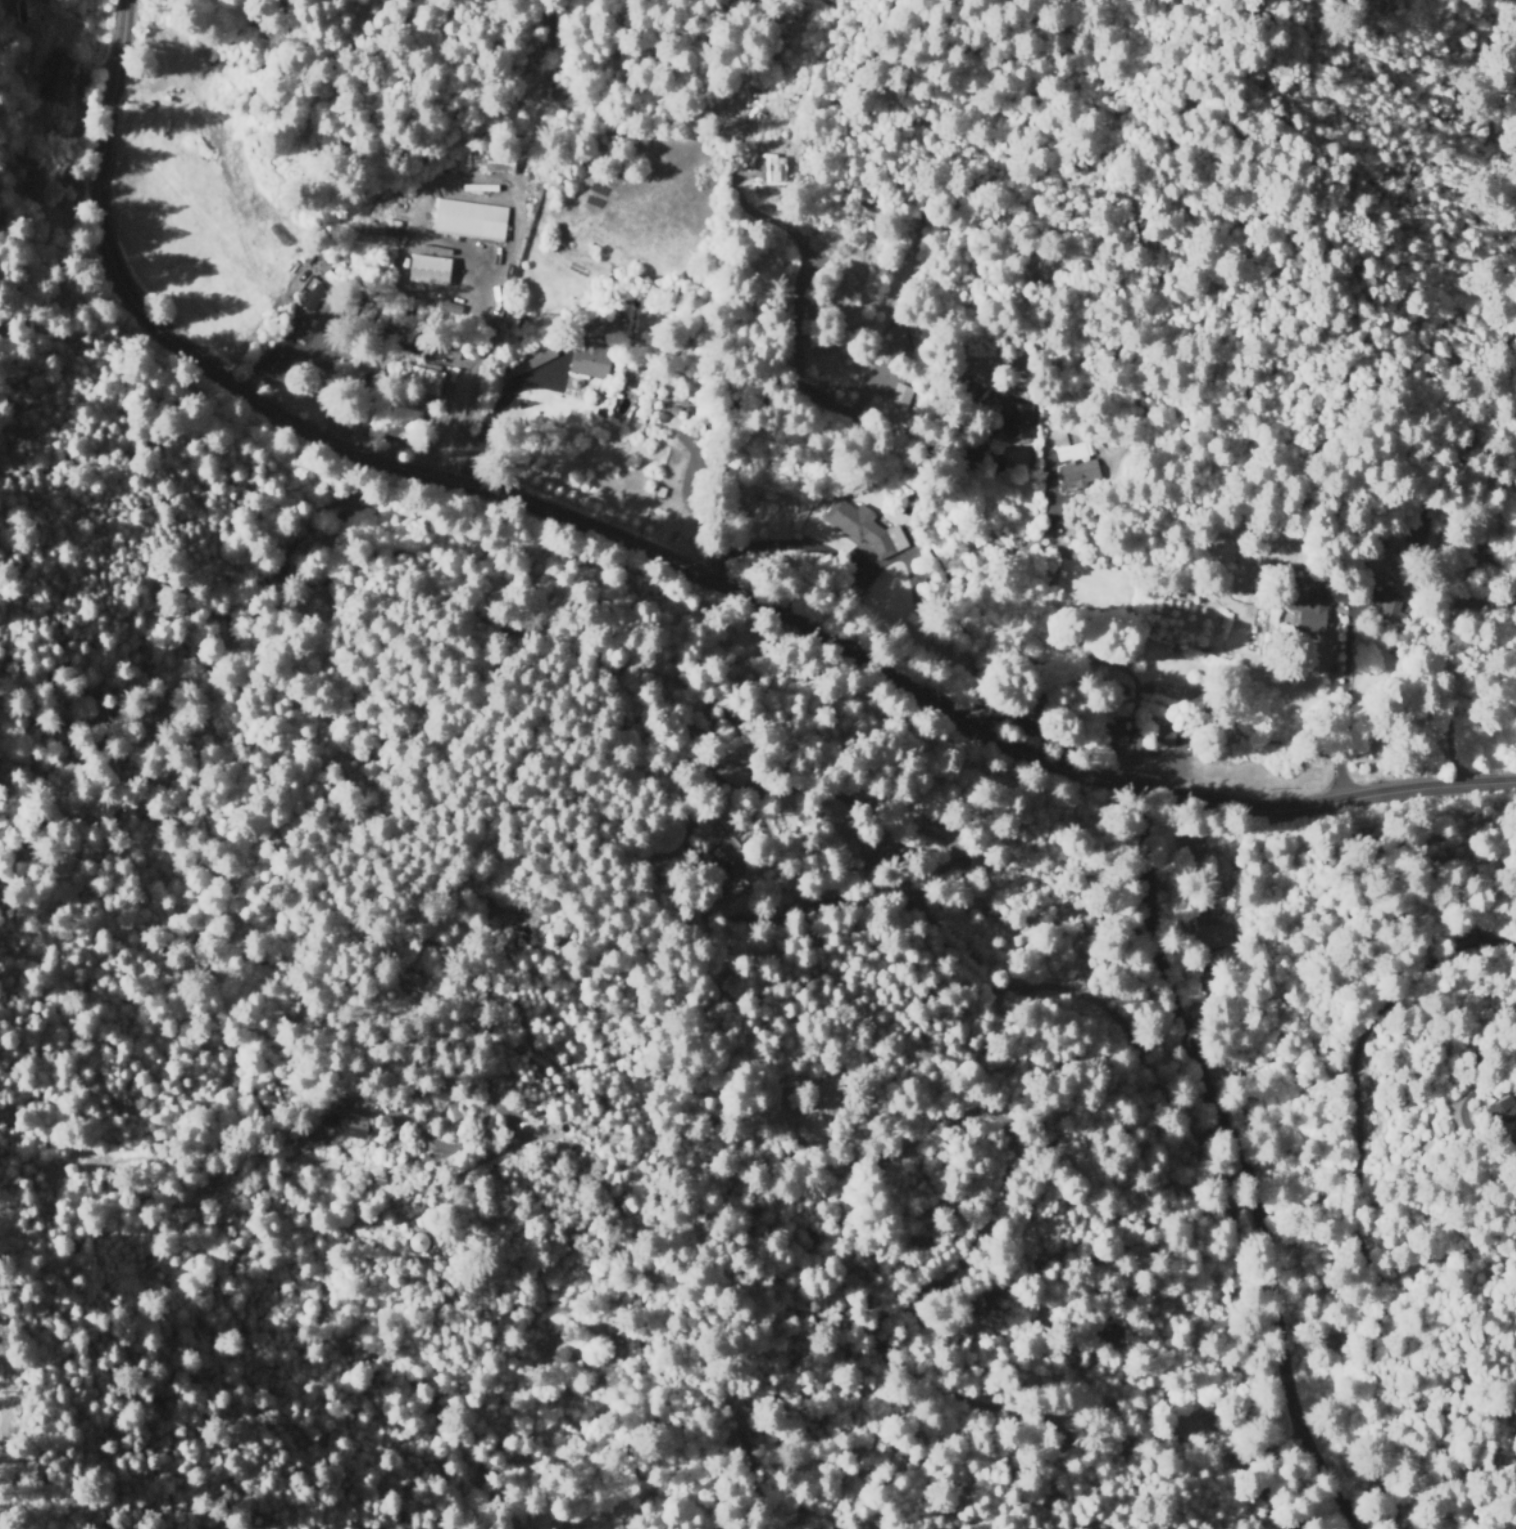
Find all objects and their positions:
road: (806, 21)
road: (819, 43)
building: (57, 77)
building: (560, 90)
building: (313, 130)
building: (16, 155)
building: (499, 164)
building: (25, 183)
building: (481, 185)
building: (562, 191)
building: (470, 221)
building: (373, 241)
building: (383, 264)
building: (428, 271)
building: (327, 275)
building: (312, 298)
building: (337, 302)
building: (350, 308)
building: (363, 313)
building: (616, 313)
building: (377, 320)
building: (289, 330)
building: (404, 333)
building: (444, 348)
building: (532, 360)
building: (592, 362)
building: (267, 363)
road: (470, 370)
building: (364, 382)
building: (424, 383)
building: (900, 394)
building: (1020, 420)
building: (404, 424)
building: (1017, 453)
building: (993, 464)
building: (1079, 469)
road: (1156, 491)
building: (864, 530)
road: (663, 558)
building: (1310, 610)
building: (1394, 611)
building: (1369, 623)
road: (1095, 706)
building: (1037, 709)
building: (1112, 730)
building: (1139, 735)
building: (1153, 735)
building: (1168, 735)
building: (736, 777)
building: (840, 830)
building: (880, 868)
building: (1213, 933)
building: (428, 948)
building: (409, 982)
building: (342, 1094)
building: (791, 1107)
building: (449, 1110)
building: (1500, 1111)
building: (348, 1125)
building: (286, 1130)
building: (315, 1136)
road: (1243, 1164)
building: (375, 1178)
building: (622, 1207)
building: (420, 1222)
building: (419, 1242)
road: (11, 1419)
building: (1221, 1419)

